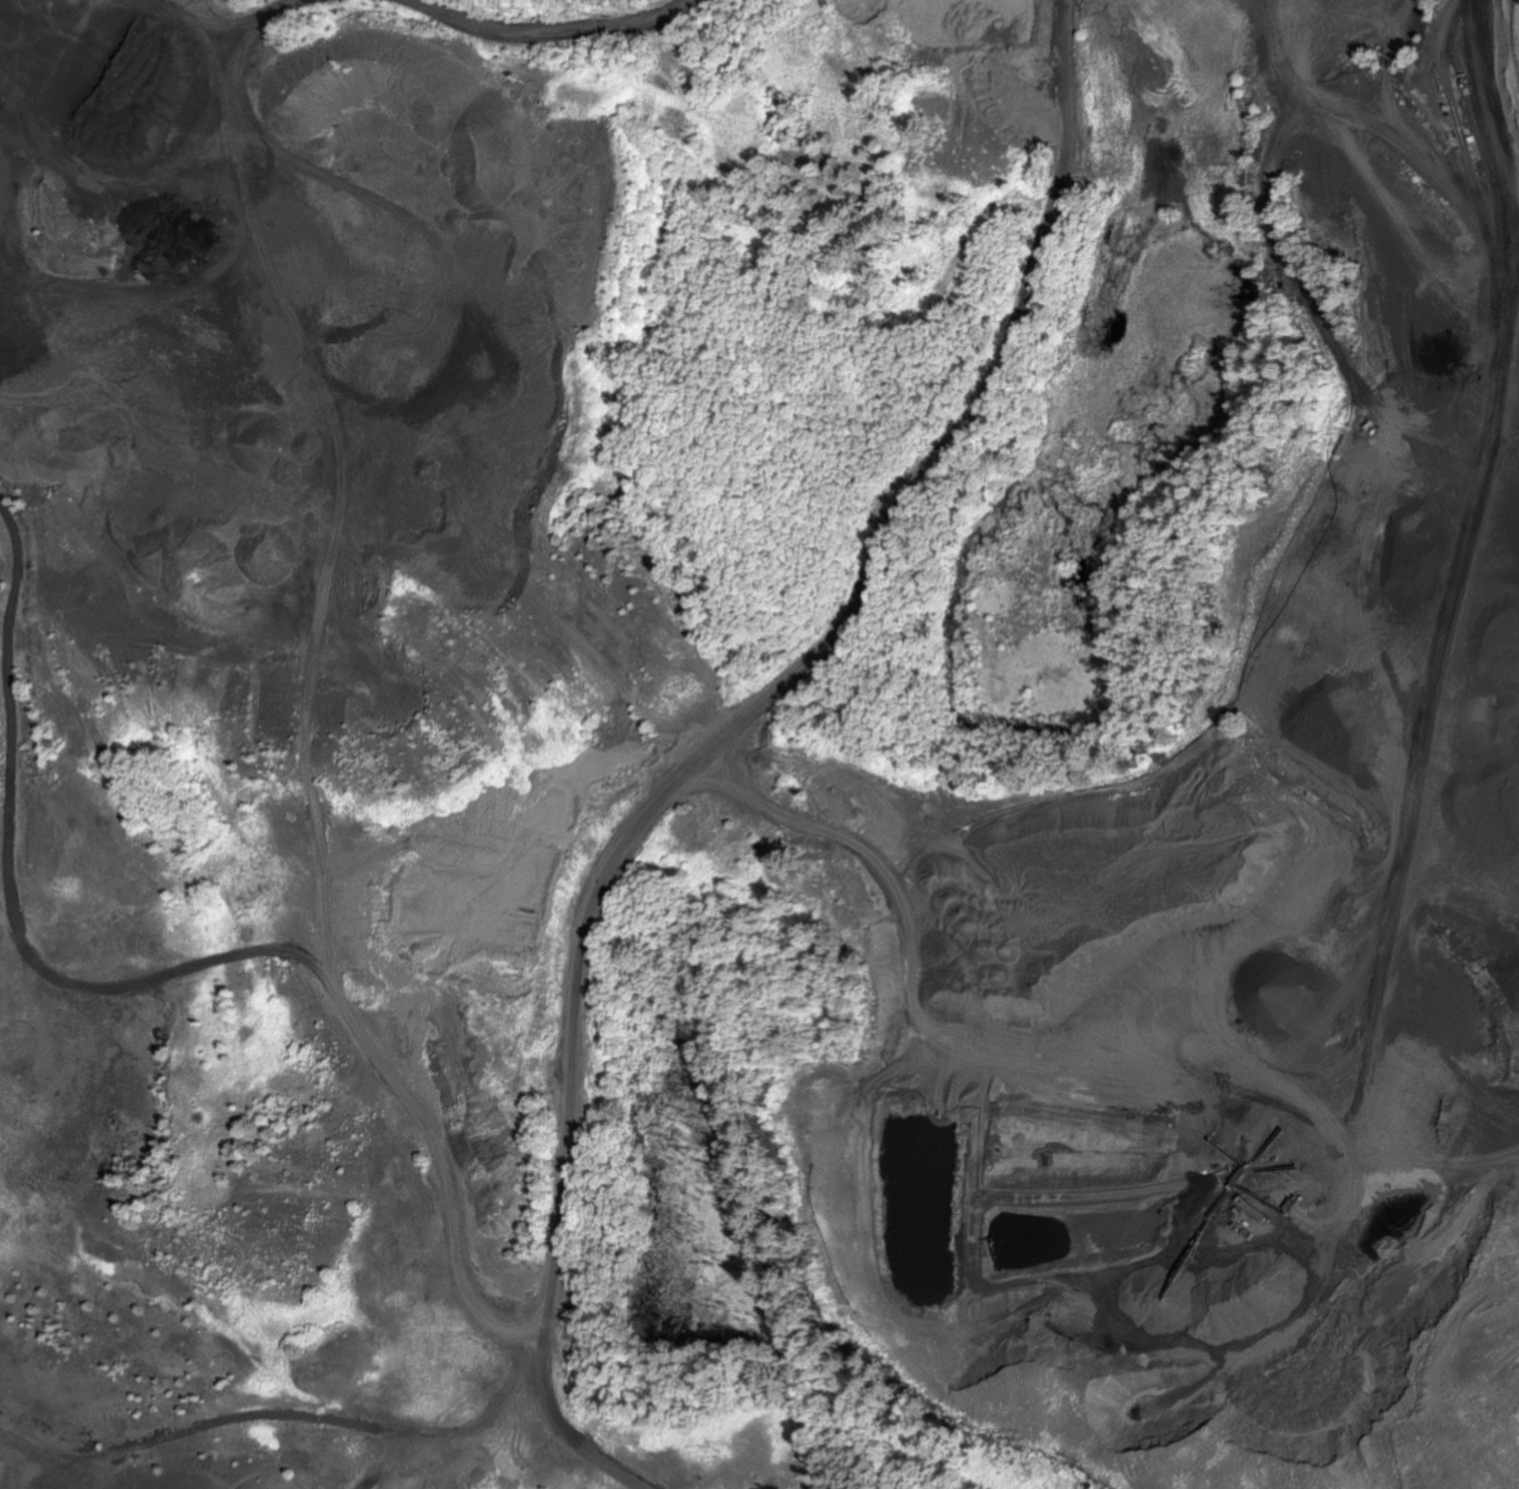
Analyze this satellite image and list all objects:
road: (553, 26)
road: (144, 53)
road: (1486, 177)
road: (1502, 523)
quarry: (1296, 632)
road: (1436, 654)
quarry: (330, 730)
road: (729, 737)
quarry: (759, 744)
road: (174, 968)

